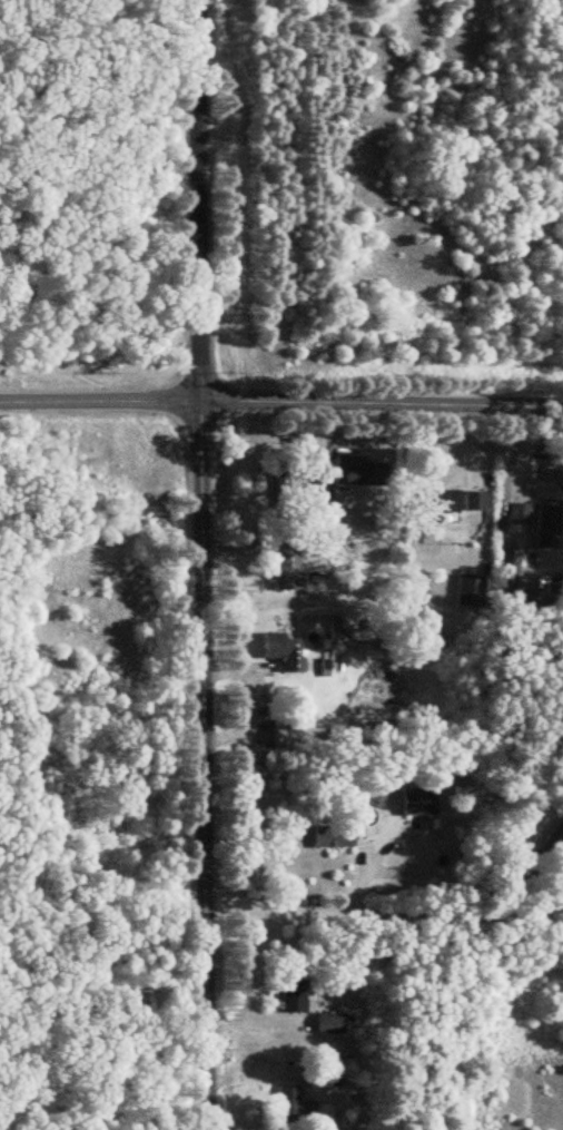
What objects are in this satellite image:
road: (99, 400)
road: (381, 401)
building: (357, 469)
building: (280, 487)
building: (472, 499)
building: (439, 500)
building: (516, 512)
building: (539, 541)
building: (285, 560)
road: (199, 564)
building: (467, 593)
building: (280, 648)
road: (251, 701)
building: (295, 734)
building: (416, 800)
building: (330, 835)
road: (381, 914)
building: (290, 994)
building: (327, 1021)
building: (316, 1073)
building: (292, 1102)

